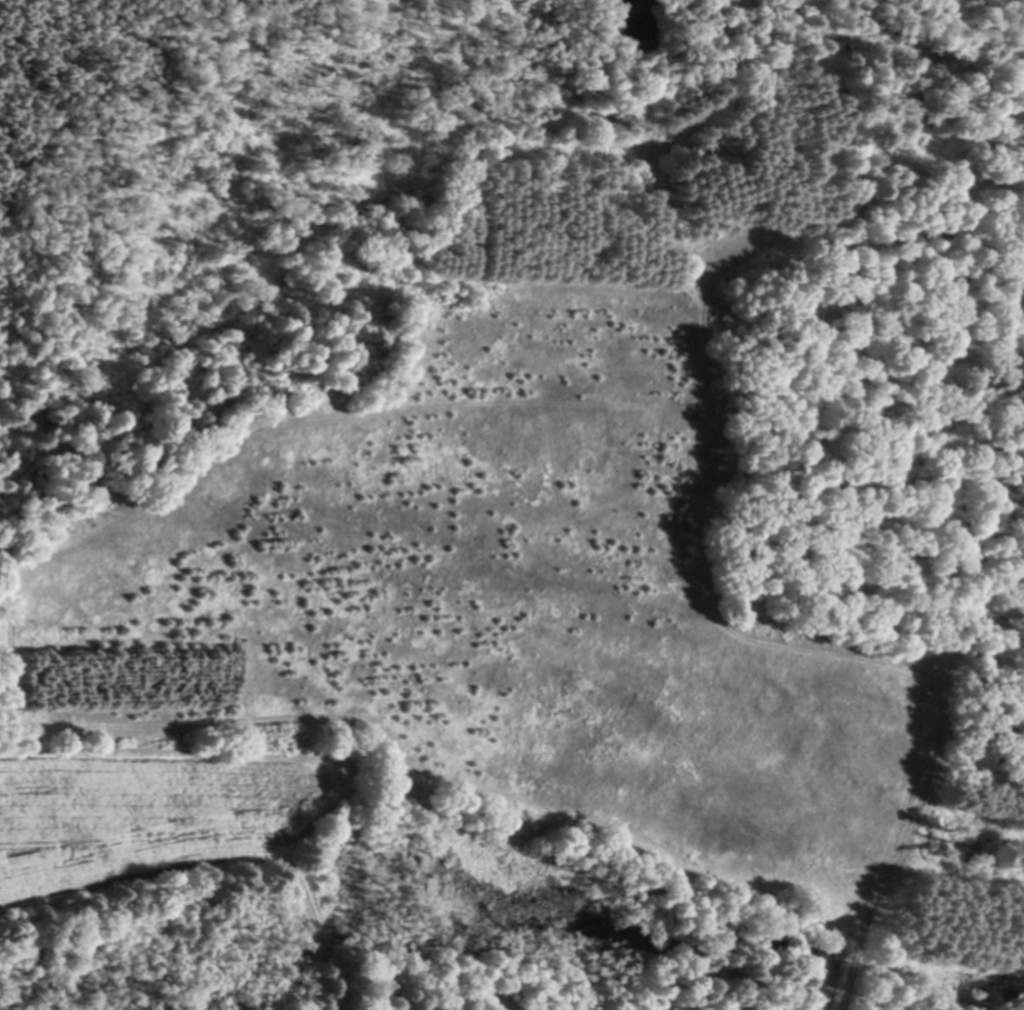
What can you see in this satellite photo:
building: (825, 914)
building: (829, 928)

